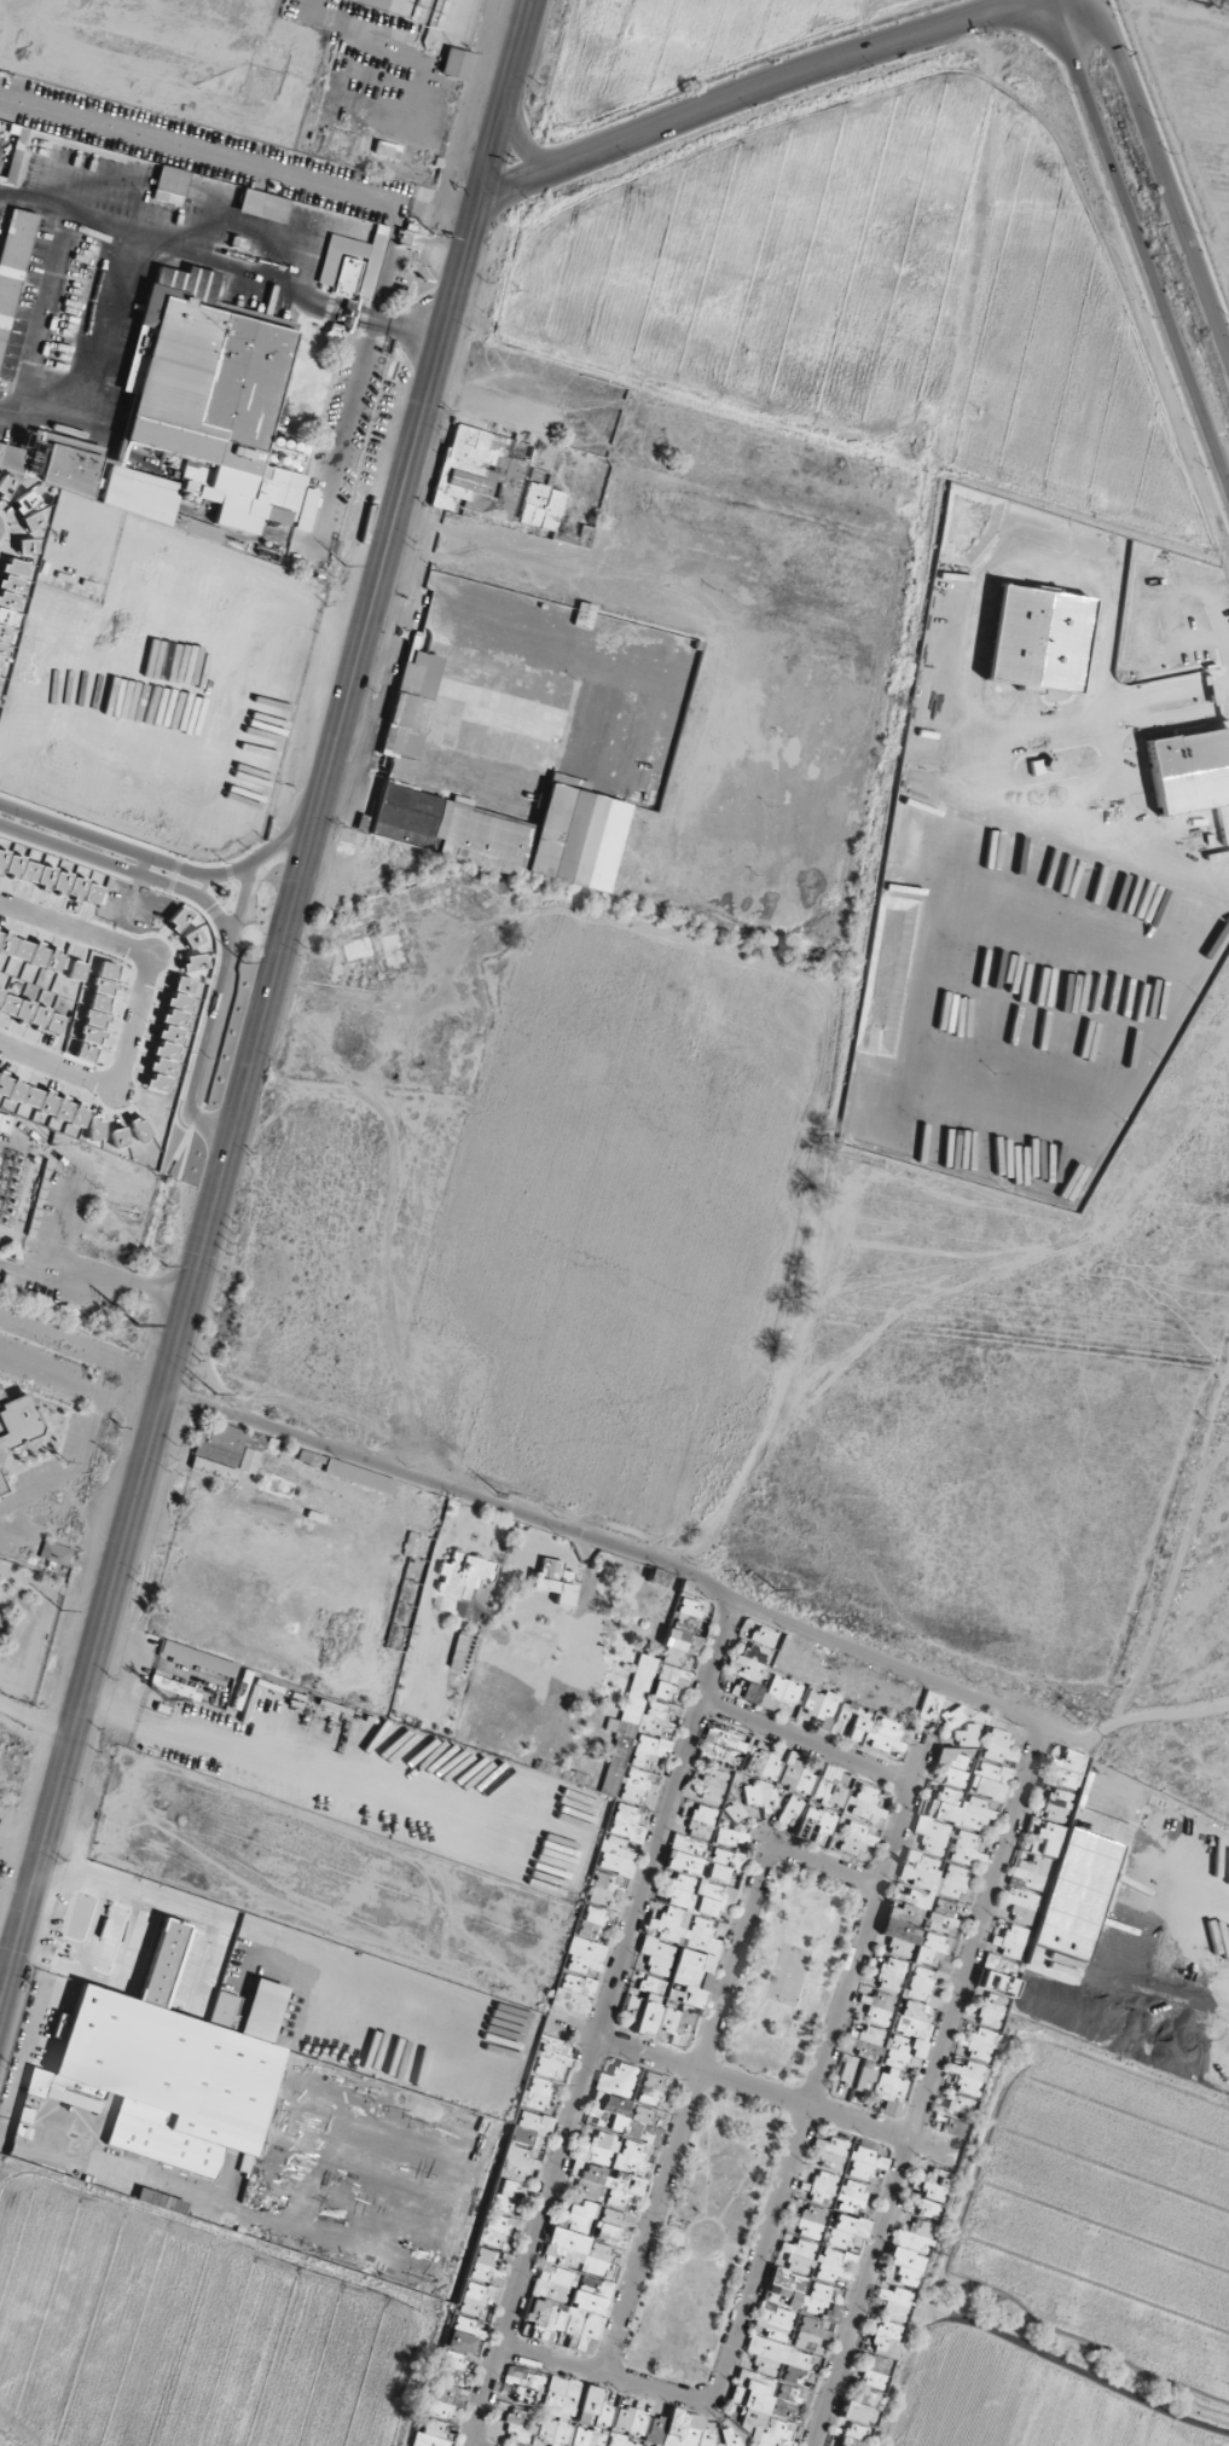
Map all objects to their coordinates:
crop: (676, 52)
crop: (775, 259)
crop: (1060, 471)
crop: (121, 804)
crop: (1050, 1045)
power substation: (16, 1178)
crop: (631, 1212)
power tower: (132, 1322)
power tower: (771, 1592)
power tower: (1082, 1717)
park: (788, 1973)
park: (694, 2241)

